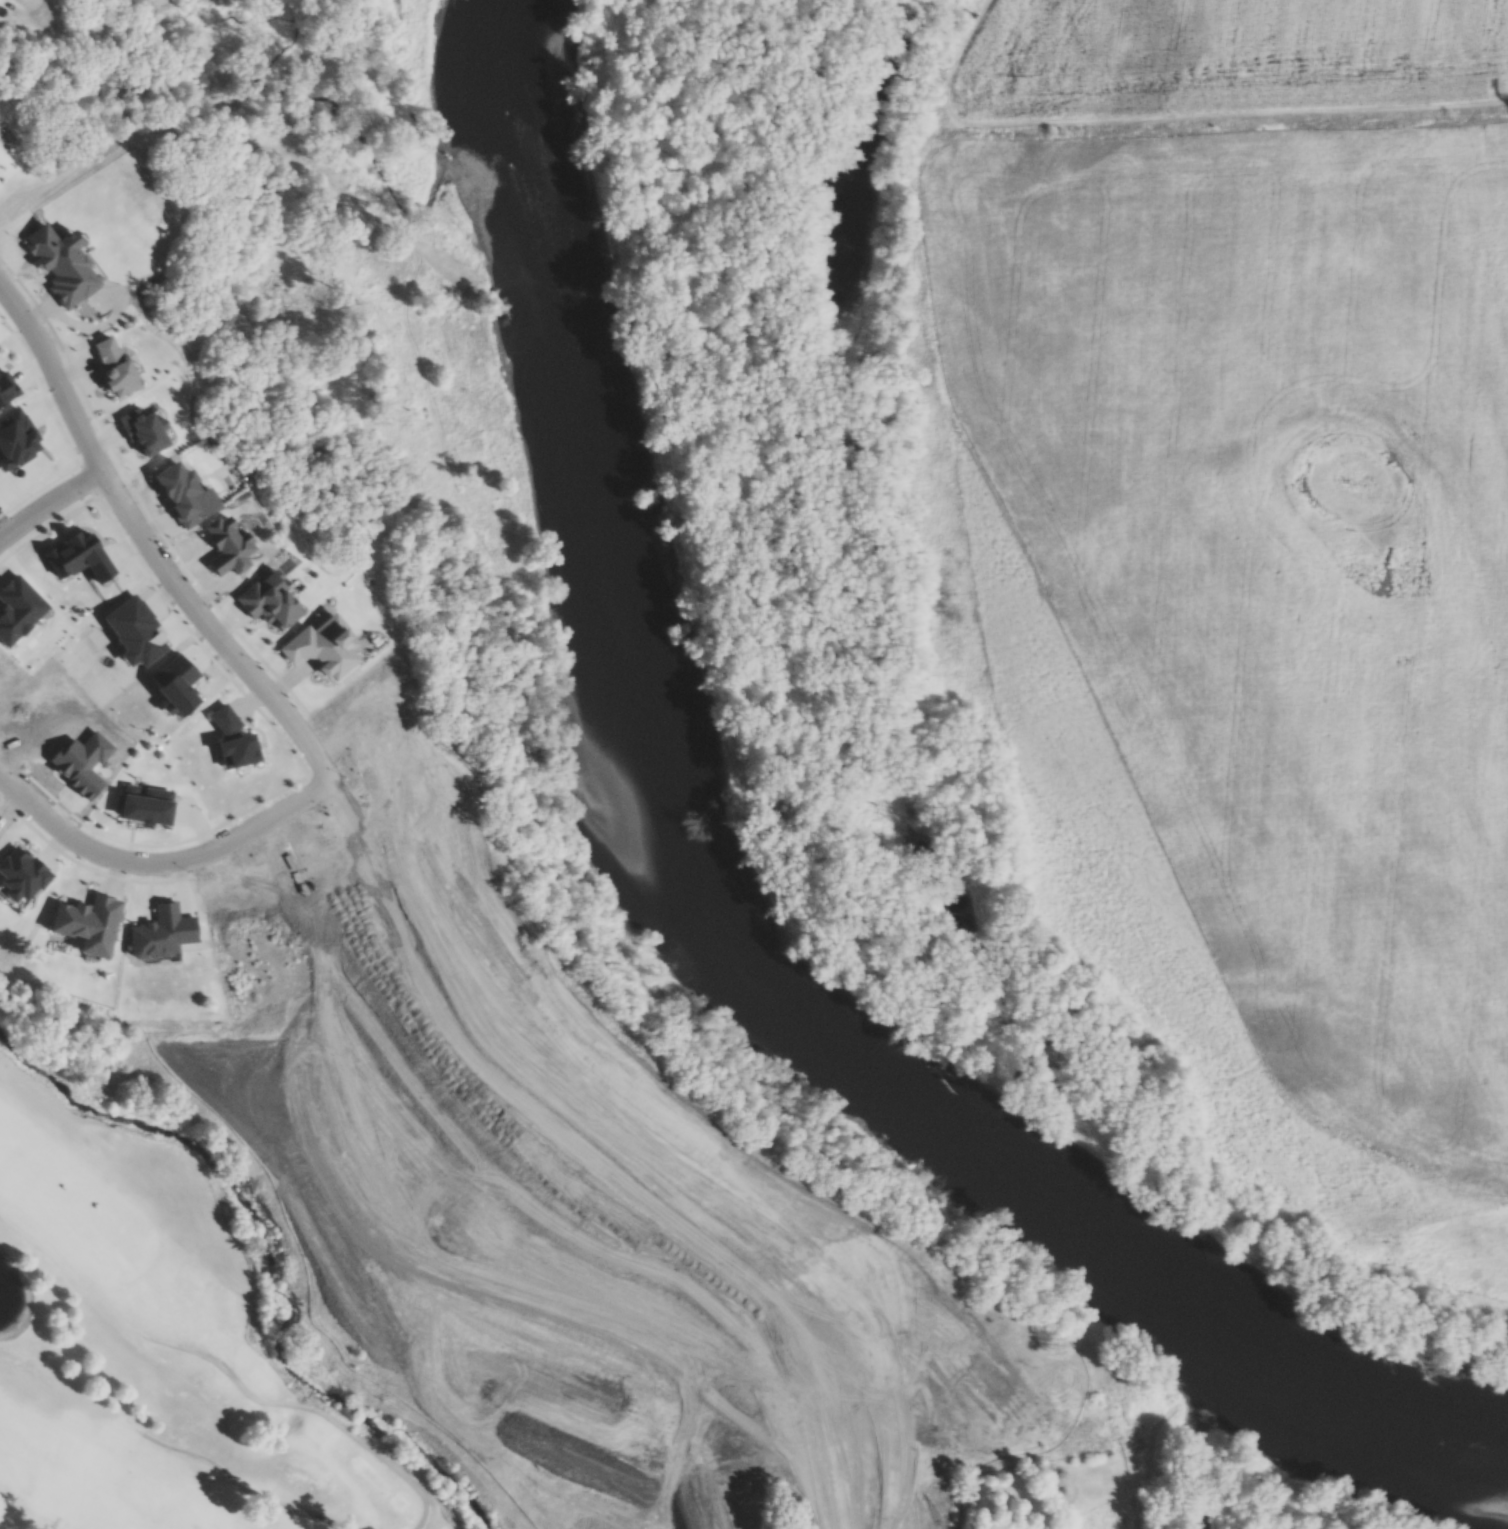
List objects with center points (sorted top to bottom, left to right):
building: (62, 263)
building: (115, 369)
building: (7, 388)
building: (145, 430)
building: (16, 438)
building: (187, 495)
road: (48, 510)
building: (229, 547)
building: (78, 558)
road: (167, 572)
building: (270, 601)
building: (17, 609)
building: (135, 632)
building: (325, 648)
building: (175, 686)
building: (234, 740)
building: (81, 763)
building: (147, 807)
road: (164, 862)
building: (22, 876)
building: (89, 925)
building: (162, 935)
river: (715, 936)
building: (415, 1089)
building: (837, 1249)
park: (163, 1347)

